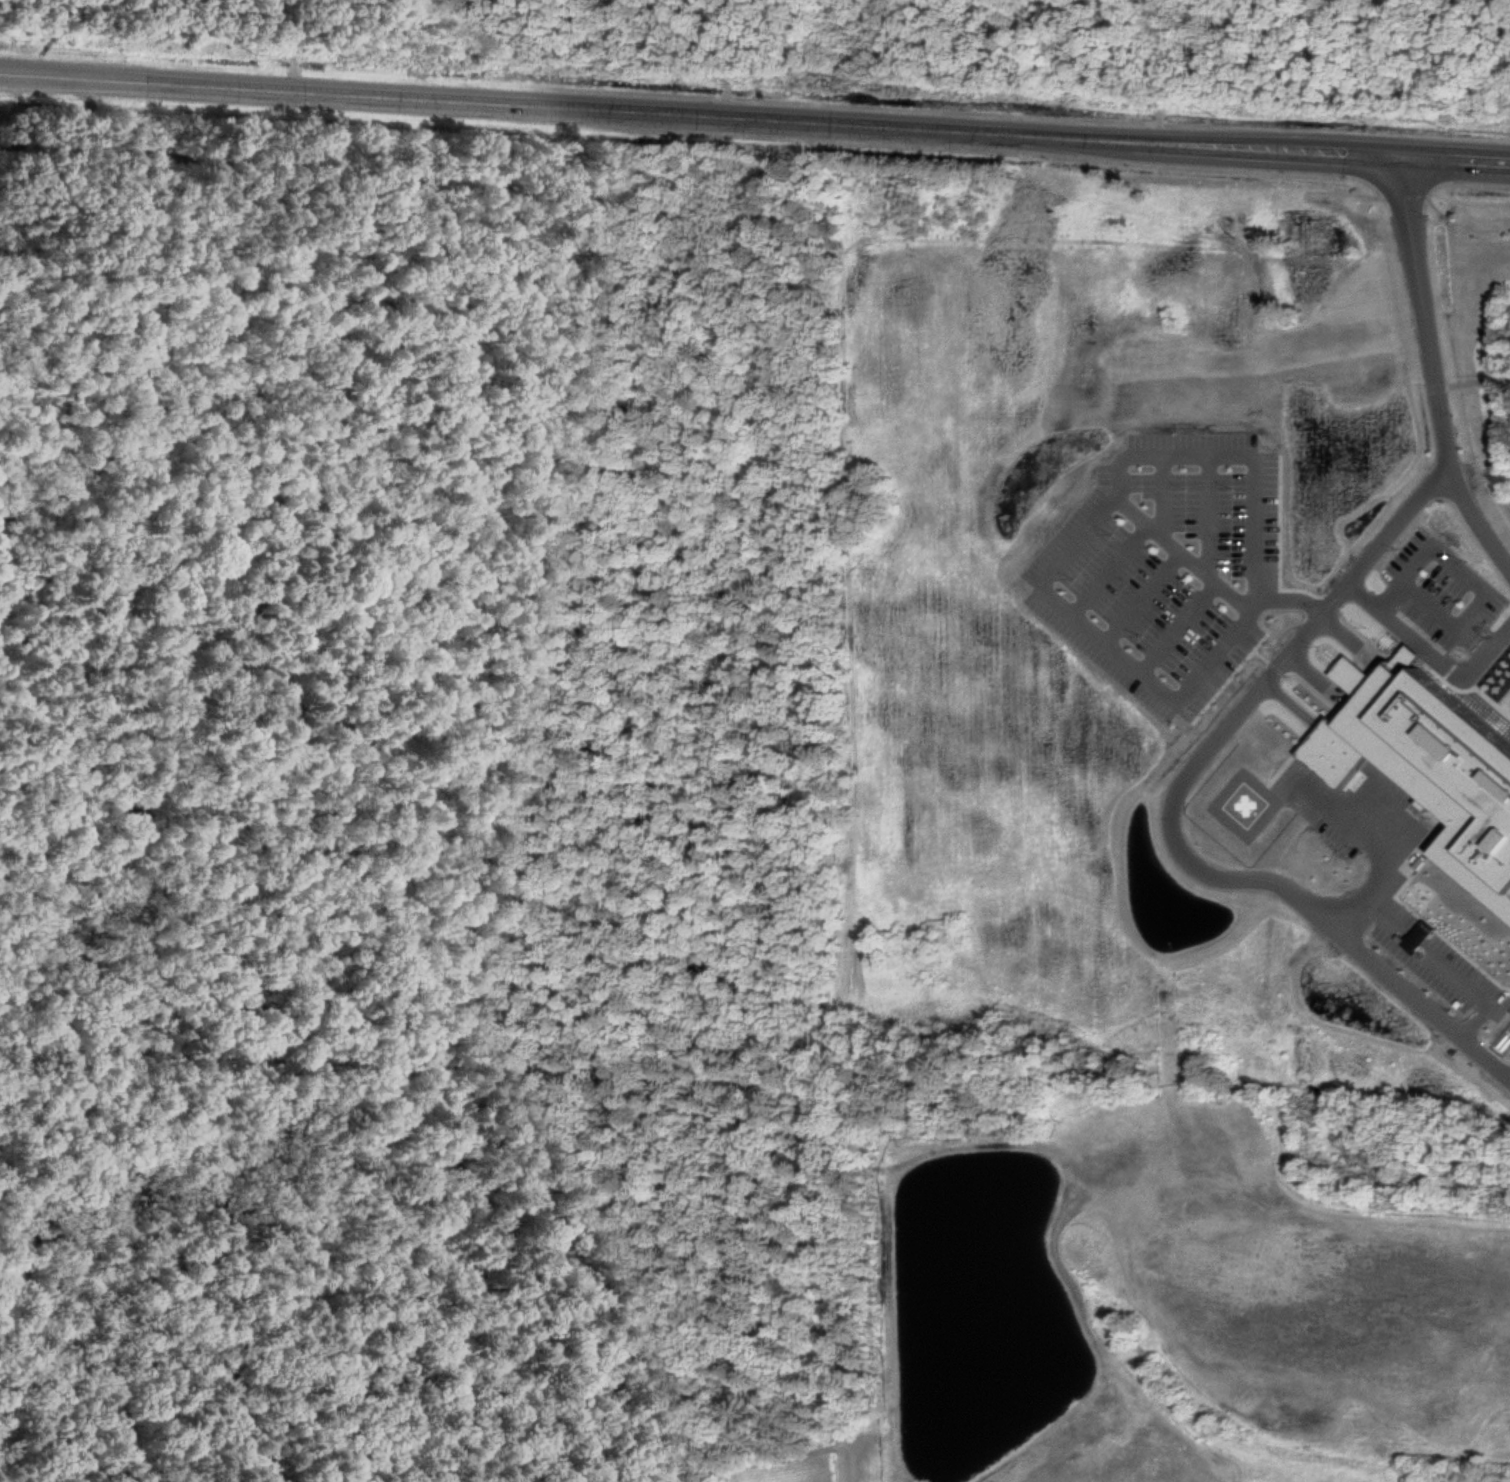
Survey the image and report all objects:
road: (754, 117)
road: (1433, 371)
road: (1473, 383)
road: (1163, 496)
road: (1209, 516)
road: (1072, 548)
road: (1447, 556)
parking lot: (1166, 567)
road: (1110, 570)
road: (1210, 574)
parking lot: (1441, 590)
road: (1144, 599)
road: (1445, 618)
road: (1179, 629)
road: (1345, 631)
road: (1430, 652)
building: (1420, 777)
helipad: (1244, 805)
road: (1172, 813)
parking lot: (1338, 818)
road: (1381, 843)
road: (1444, 962)
parking lot: (1441, 963)

